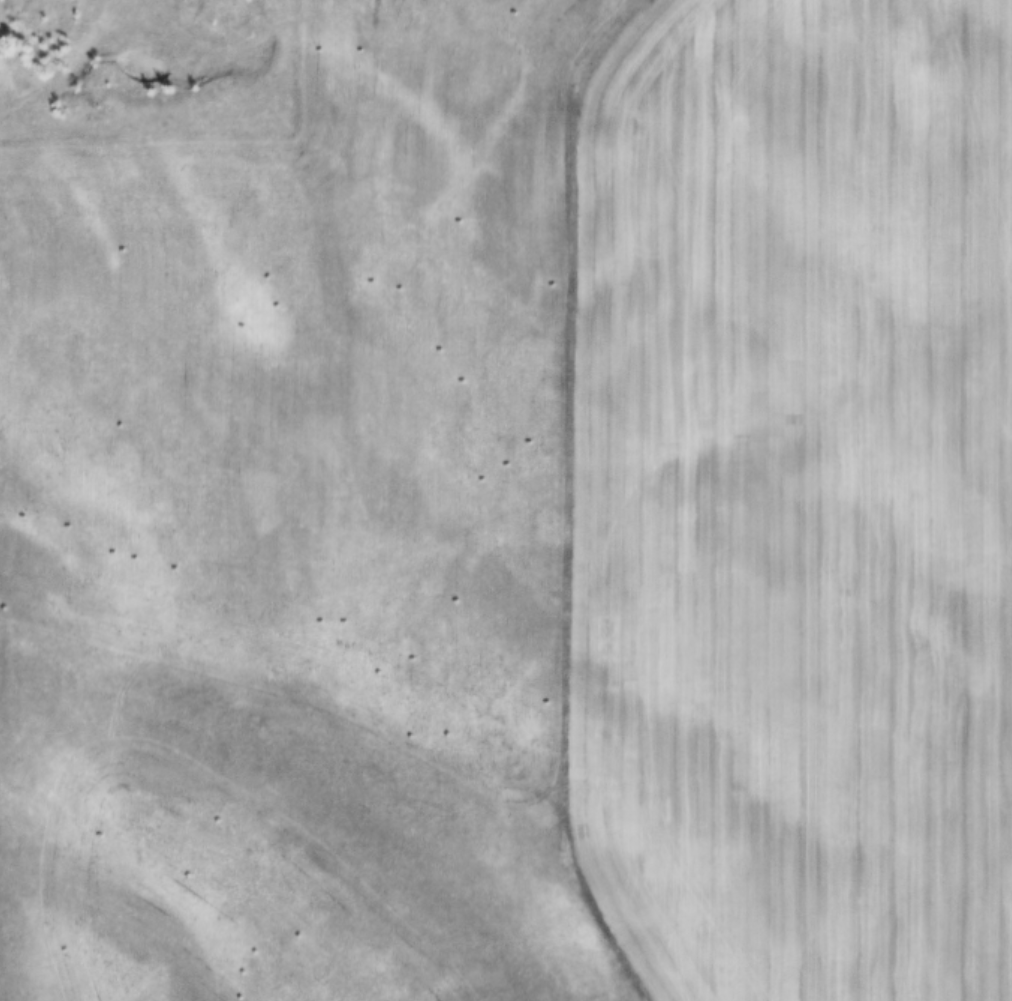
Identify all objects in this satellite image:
quarry: (144, 55)

